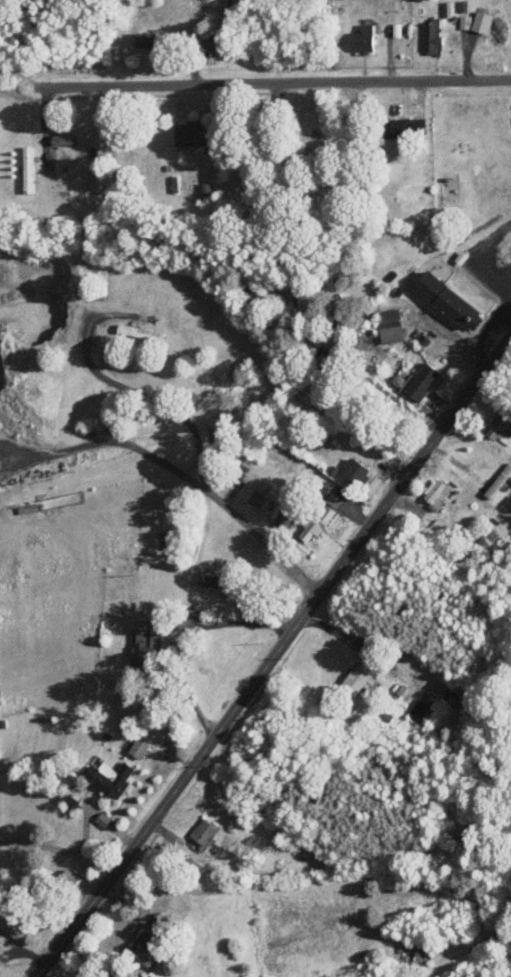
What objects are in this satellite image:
building: (484, 20)
building: (432, 35)
building: (366, 38)
building: (150, 39)
road: (255, 82)
building: (408, 127)
building: (192, 132)
building: (28, 169)
building: (206, 191)
building: (254, 199)
road: (120, 256)
building: (451, 301)
building: (390, 325)
building: (140, 331)
building: (421, 382)
building: (309, 392)
building: (499, 427)
building: (357, 471)
road: (183, 474)
building: (502, 477)
building: (259, 493)
building: (437, 493)
building: (334, 499)
building: (286, 518)
building: (316, 524)
building: (487, 537)
building: (209, 580)
road: (240, 622)
building: (147, 647)
road: (272, 655)
building: (357, 679)
building: (419, 710)
building: (139, 747)
road: (3, 767)
building: (113, 777)
building: (106, 820)
building: (204, 835)
building: (68, 879)
building: (10, 926)
building: (149, 948)
building: (413, 953)

